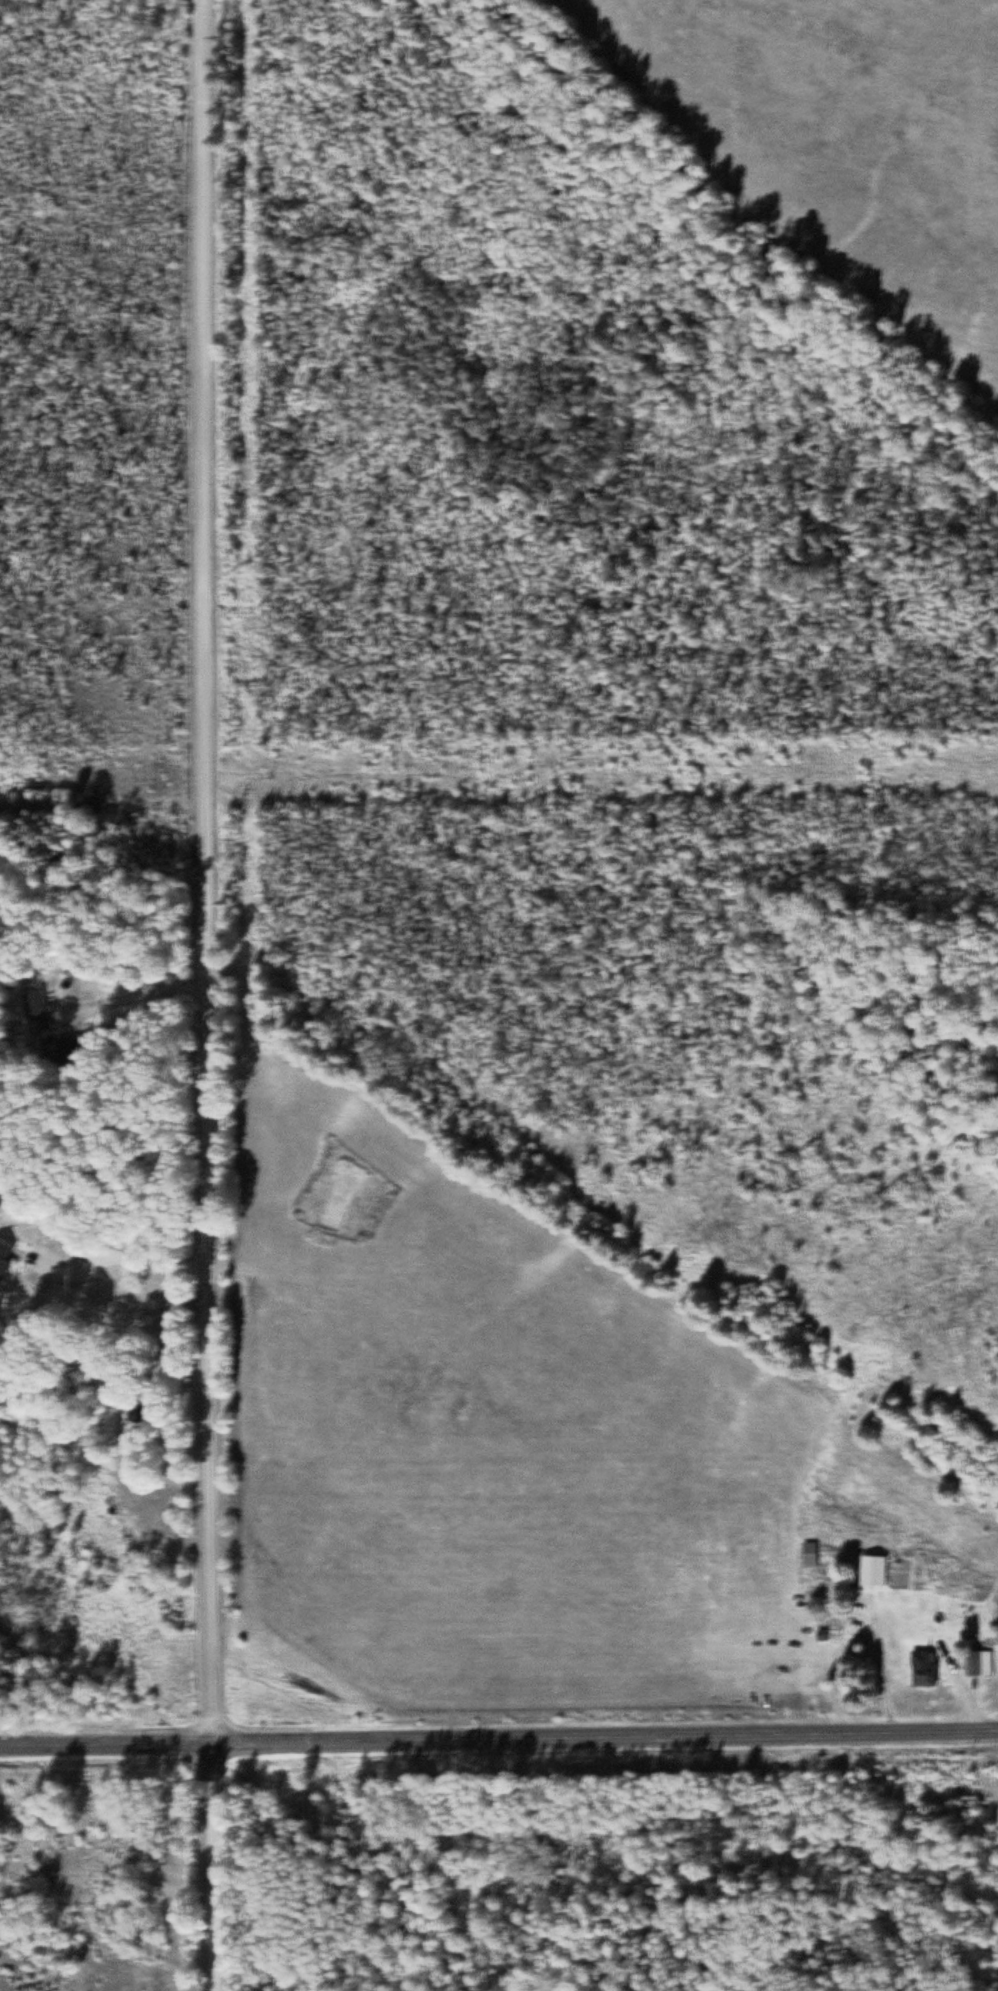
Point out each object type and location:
road: (207, 995)
building: (41, 1013)
building: (2, 1210)
building: (10, 1258)
building: (815, 1556)
building: (880, 1573)
building: (982, 1665)
building: (928, 1671)
road: (498, 1736)
road: (740, 1853)

